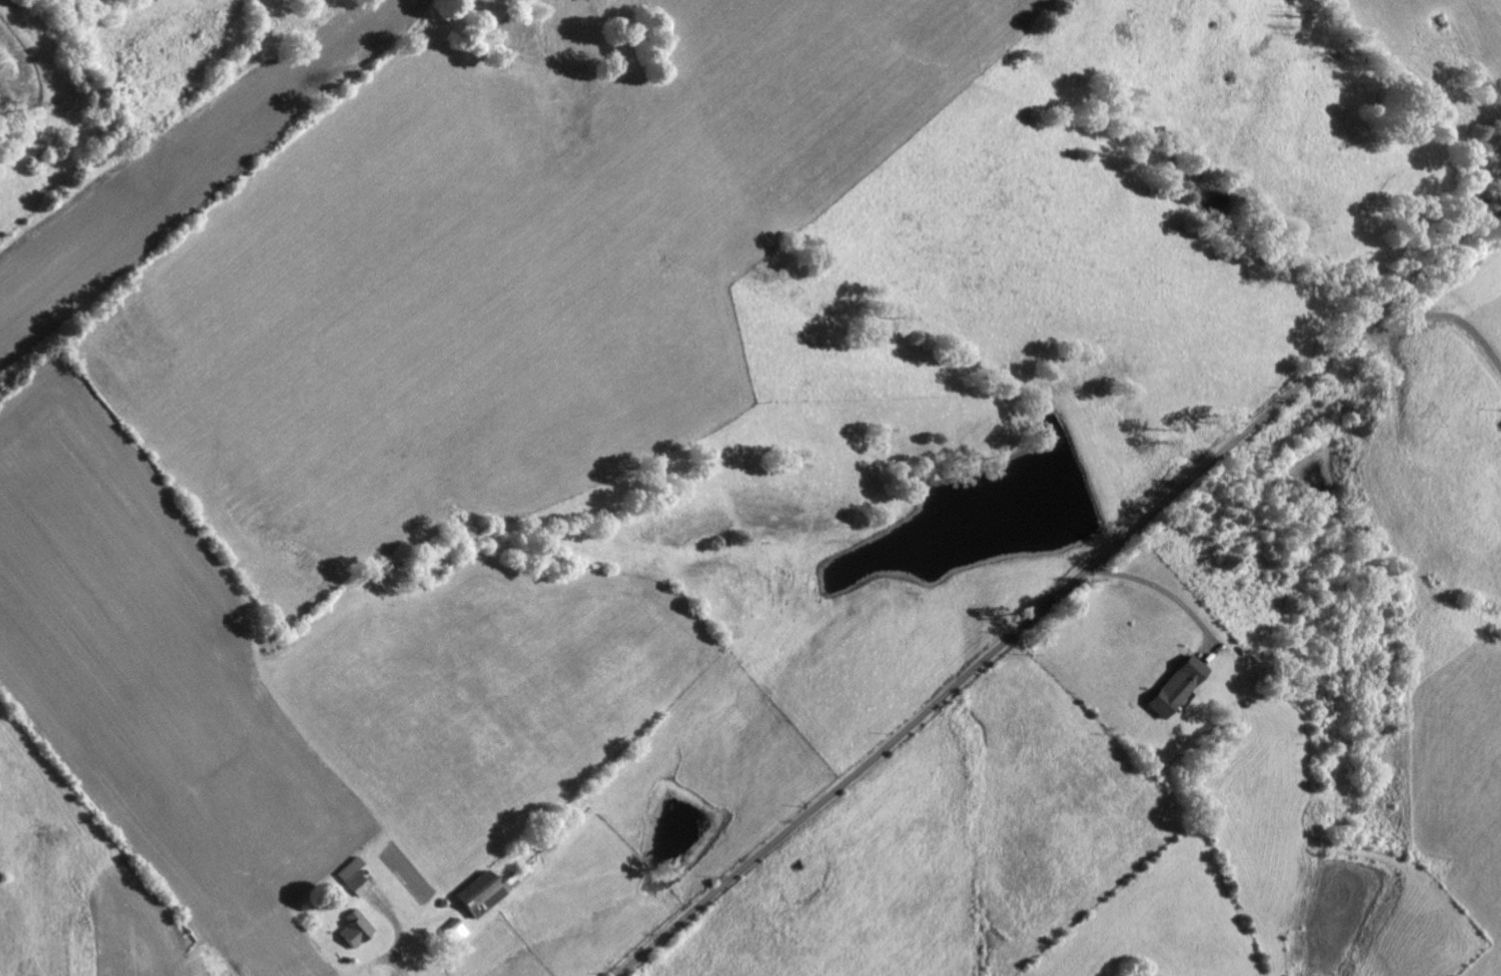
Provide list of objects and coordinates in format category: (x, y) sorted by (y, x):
road: (1481, 185)
road: (1444, 313)
road: (1162, 587)
road: (1062, 593)
building: (1177, 683)
building: (354, 875)
building: (483, 889)
road: (398, 931)

